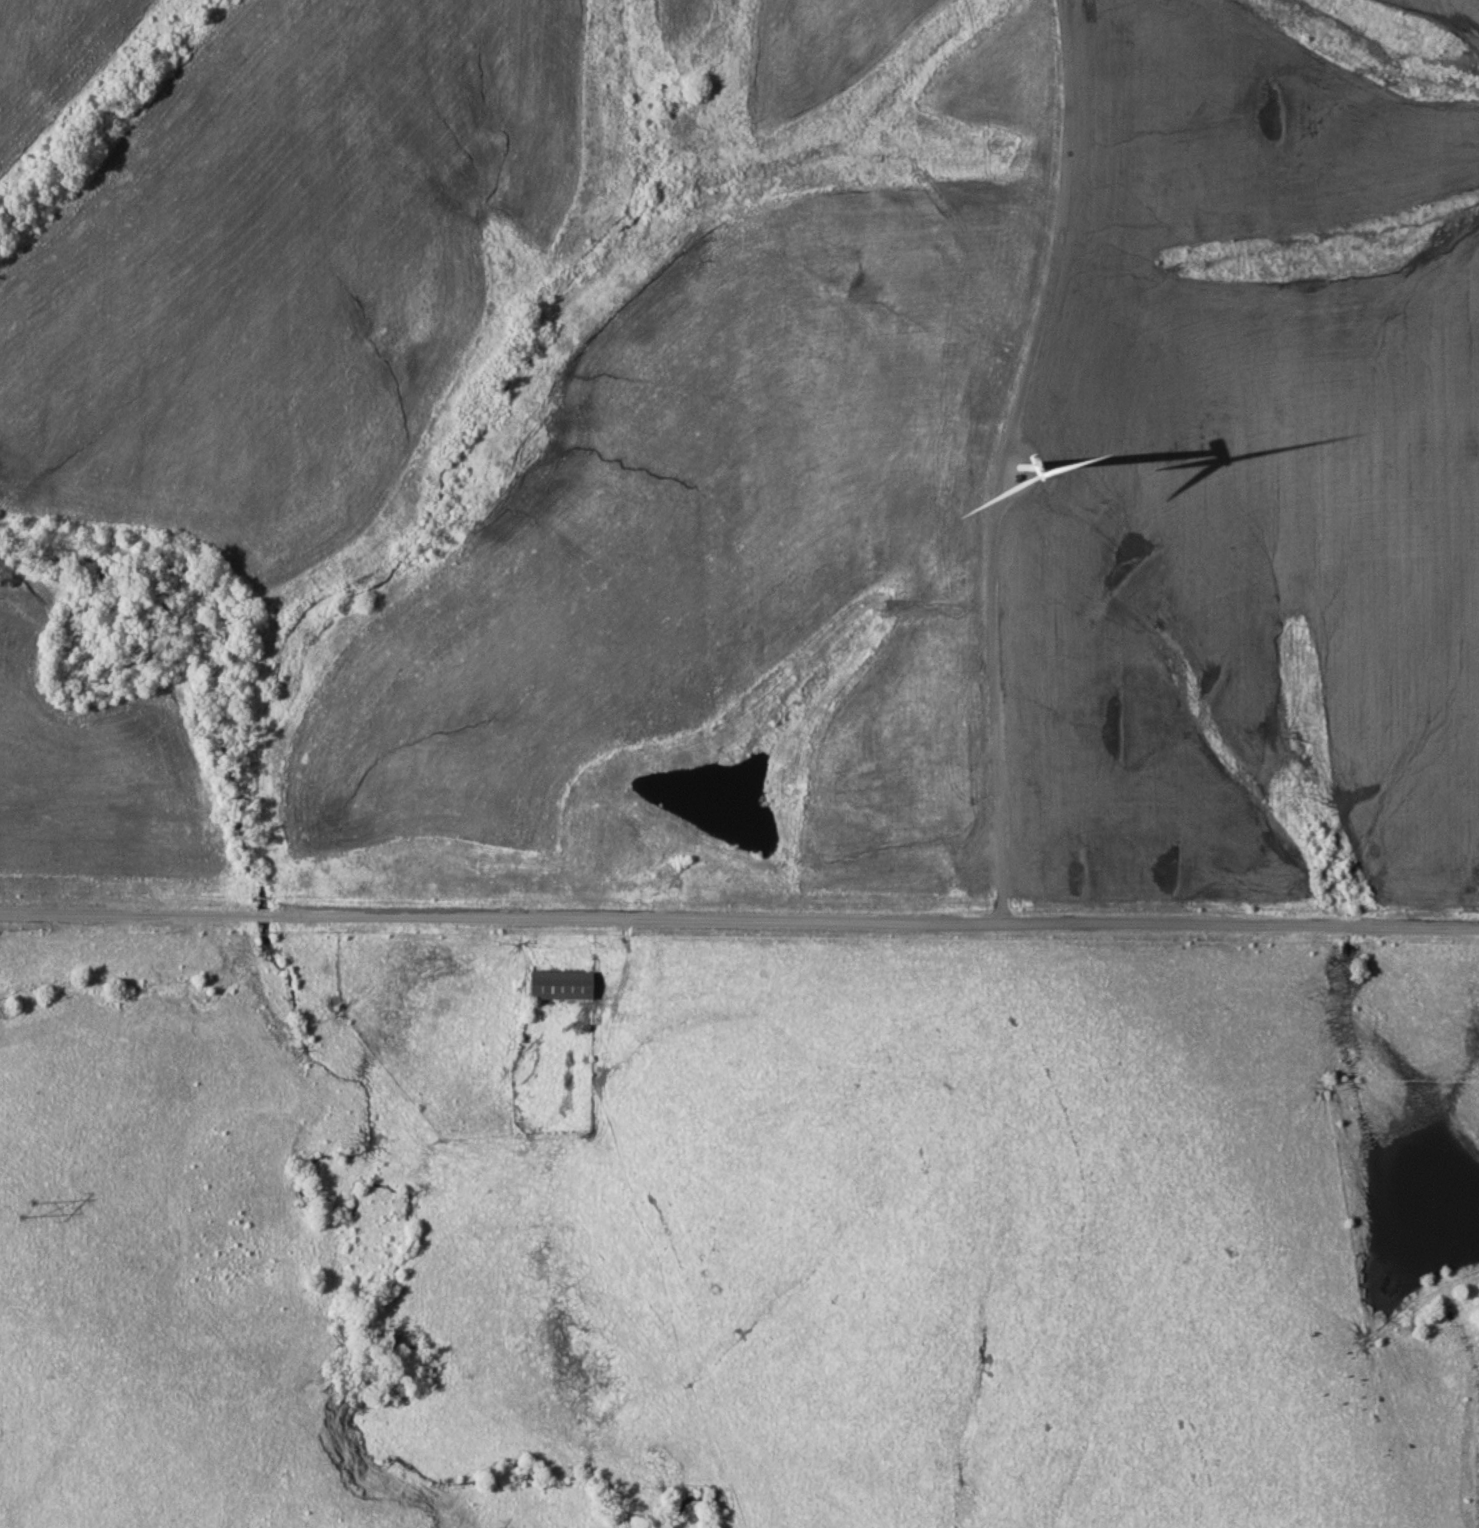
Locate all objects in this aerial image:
road: (1005, 458)
wind turbine: (1024, 469)
road: (739, 919)
building: (555, 985)
power tower: (39, 1213)

